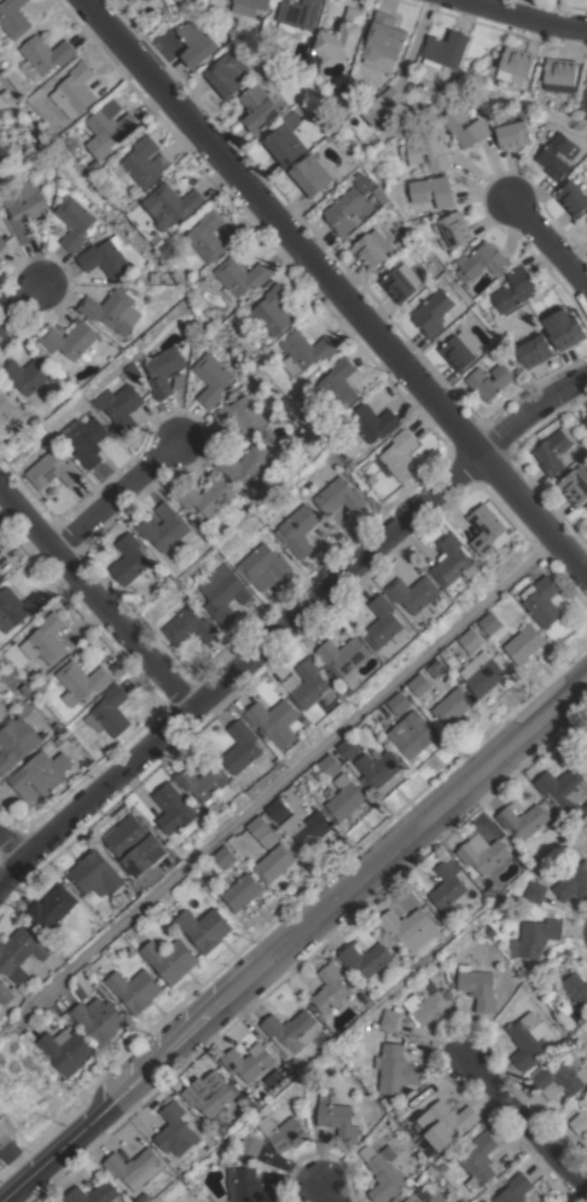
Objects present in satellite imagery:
building: (123, 0)
building: (146, 0)
building: (150, 1)
building: (252, 7)
building: (303, 17)
road: (523, 17)
building: (13, 18)
building: (344, 36)
building: (196, 42)
building: (387, 42)
building: (448, 51)
building: (43, 56)
building: (315, 63)
building: (518, 65)
building: (476, 73)
building: (227, 74)
building: (563, 76)
building: (342, 81)
building: (75, 89)
building: (586, 99)
building: (383, 105)
building: (258, 108)
building: (477, 126)
building: (109, 129)
building: (513, 134)
building: (331, 137)
building: (75, 144)
building: (284, 144)
building: (36, 145)
building: (425, 149)
building: (2, 152)
building: (364, 152)
building: (557, 155)
building: (144, 161)
building: (310, 175)
building: (364, 184)
building: (59, 191)
building: (432, 191)
building: (7, 197)
building: (573, 197)
building: (172, 204)
building: (344, 212)
building: (25, 214)
building: (586, 216)
building: (74, 221)
building: (454, 232)
building: (208, 235)
building: (157, 239)
building: (2, 242)
road: (548, 245)
building: (371, 248)
building: (105, 256)
building: (482, 261)
building: (0, 266)
building: (239, 276)
building: (134, 277)
building: (401, 282)
road: (335, 289)
building: (513, 290)
road: (18, 302)
building: (112, 310)
building: (273, 310)
building: (432, 312)
building: (564, 329)
building: (70, 339)
building: (459, 349)
building: (534, 351)
building: (304, 352)
building: (163, 369)
building: (27, 372)
building: (211, 377)
building: (490, 380)
building: (339, 382)
building: (5, 403)
building: (120, 406)
building: (242, 414)
building: (272, 414)
building: (586, 416)
building: (373, 422)
building: (86, 440)
building: (553, 449)
building: (399, 456)
building: (245, 463)
building: (351, 463)
building: (51, 466)
building: (575, 485)
building: (337, 493)
road: (116, 496)
building: (207, 496)
building: (164, 526)
building: (297, 526)
building: (488, 530)
building: (0, 549)
building: (129, 559)
building: (453, 559)
building: (263, 566)
building: (163, 570)
building: (0, 576)
building: (414, 593)
building: (226, 596)
road: (97, 599)
building: (542, 601)
building: (19, 605)
building: (384, 623)
building: (490, 623)
road: (289, 625)
building: (190, 626)
building: (46, 640)
building: (471, 640)
building: (524, 642)
building: (344, 655)
building: (482, 672)
building: (81, 681)
building: (419, 683)
building: (312, 684)
building: (40, 686)
building: (399, 703)
building: (453, 706)
building: (2, 710)
building: (109, 711)
building: (275, 721)
building: (412, 733)
building: (59, 739)
building: (16, 741)
building: (349, 746)
building: (243, 747)
building: (586, 759)
building: (329, 764)
building: (378, 768)
building: (40, 774)
road: (286, 779)
building: (204, 782)
building: (565, 791)
building: (345, 796)
building: (173, 808)
building: (141, 816)
building: (522, 819)
building: (300, 822)
building: (262, 831)
building: (136, 845)
road: (11, 848)
building: (483, 856)
building: (222, 857)
building: (275, 862)
building: (94, 873)
building: (570, 882)
building: (448, 886)
building: (243, 891)
building: (490, 891)
building: (535, 891)
building: (51, 908)
building: (506, 921)
building: (409, 926)
building: (205, 927)
building: (490, 930)
building: (535, 937)
road: (293, 941)
building: (19, 952)
building: (365, 958)
building: (170, 959)
building: (349, 979)
building: (477, 987)
building: (541, 987)
building: (330, 988)
building: (574, 988)
building: (134, 989)
building: (80, 992)
building: (5, 993)
building: (428, 1006)
building: (391, 1018)
building: (99, 1019)
building: (292, 1030)
building: (525, 1040)
building: (66, 1050)
building: (251, 1063)
building: (297, 1063)
building: (397, 1069)
building: (559, 1074)
building: (209, 1097)
building: (337, 1117)
building: (444, 1122)
building: (580, 1122)
building: (176, 1129)
building: (1, 1131)
road: (523, 1131)
building: (284, 1132)
building: (250, 1144)
building: (480, 1157)
building: (135, 1165)
building: (423, 1167)
building: (1, 1172)
building: (383, 1172)
building: (248, 1185)
building: (515, 1189)
building: (94, 1194)
road: (326, 1194)
building: (425, 1196)
building: (144, 1197)
building: (484, 1201)

